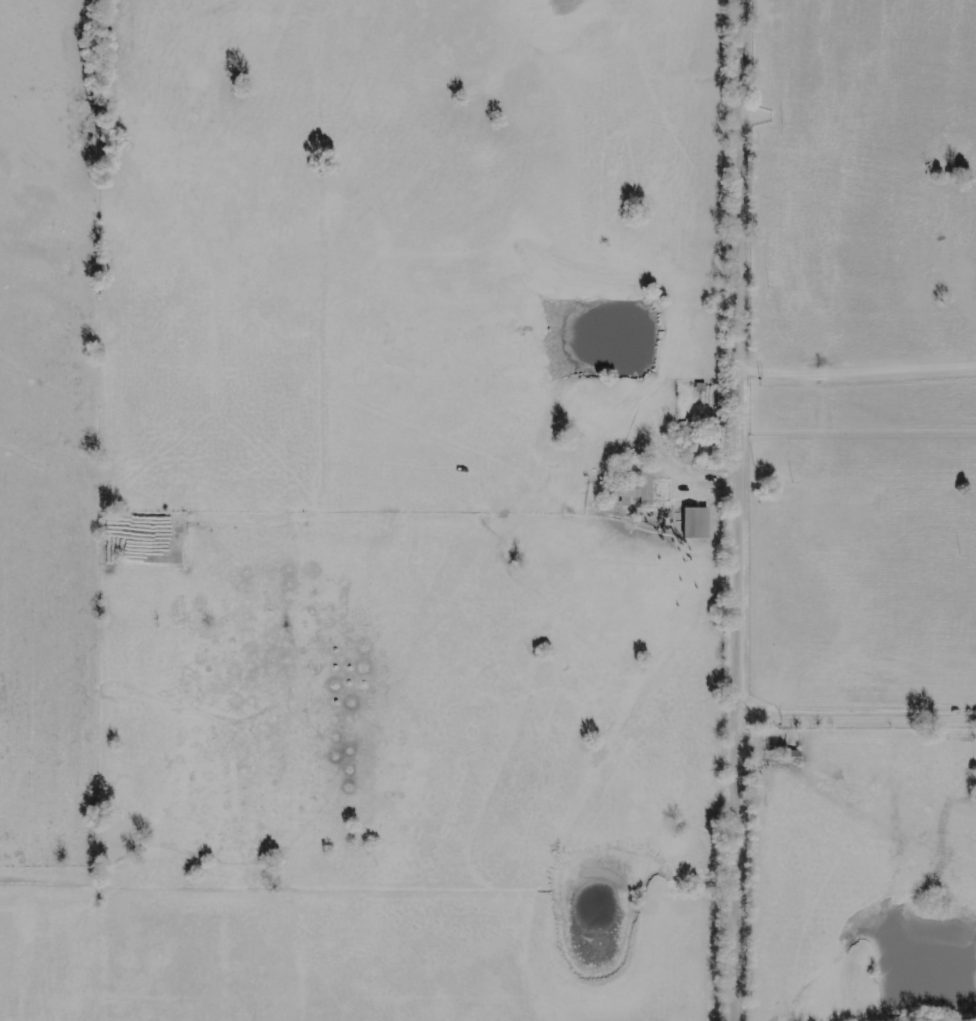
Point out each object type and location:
road: (742, 510)
building: (697, 523)
road: (858, 719)

